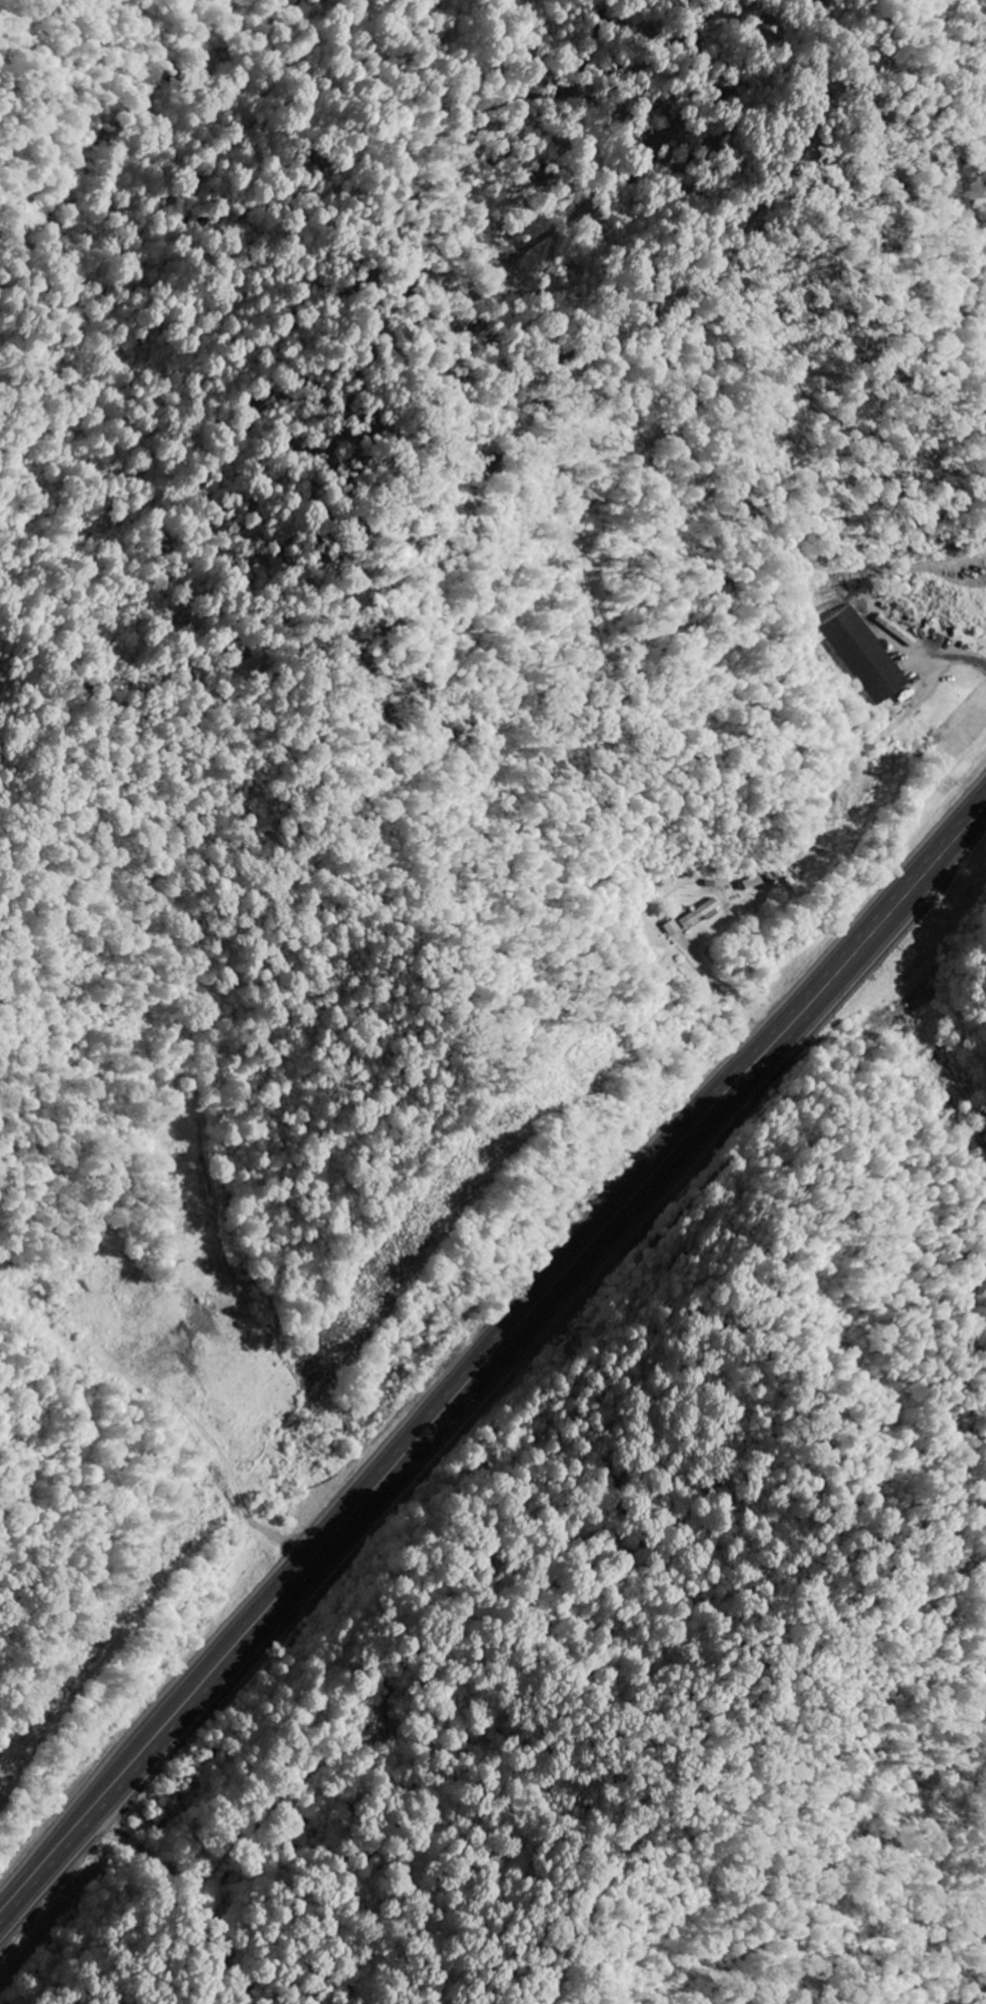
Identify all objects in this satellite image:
road: (4, 6)
building: (865, 657)
building: (703, 915)
road: (492, 1360)

